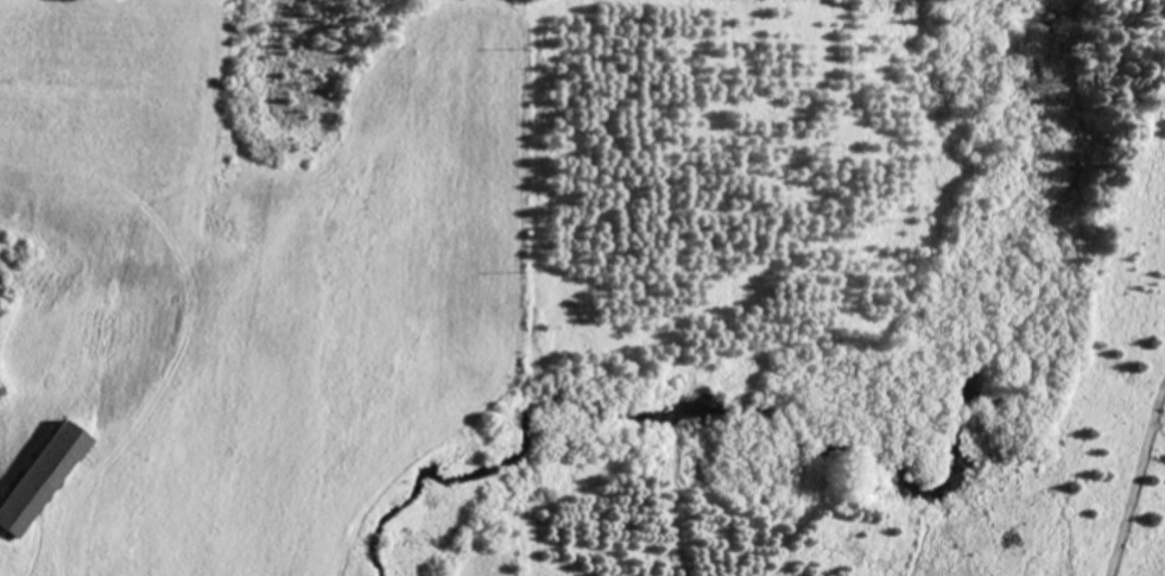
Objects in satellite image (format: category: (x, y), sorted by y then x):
building: (43, 477)

